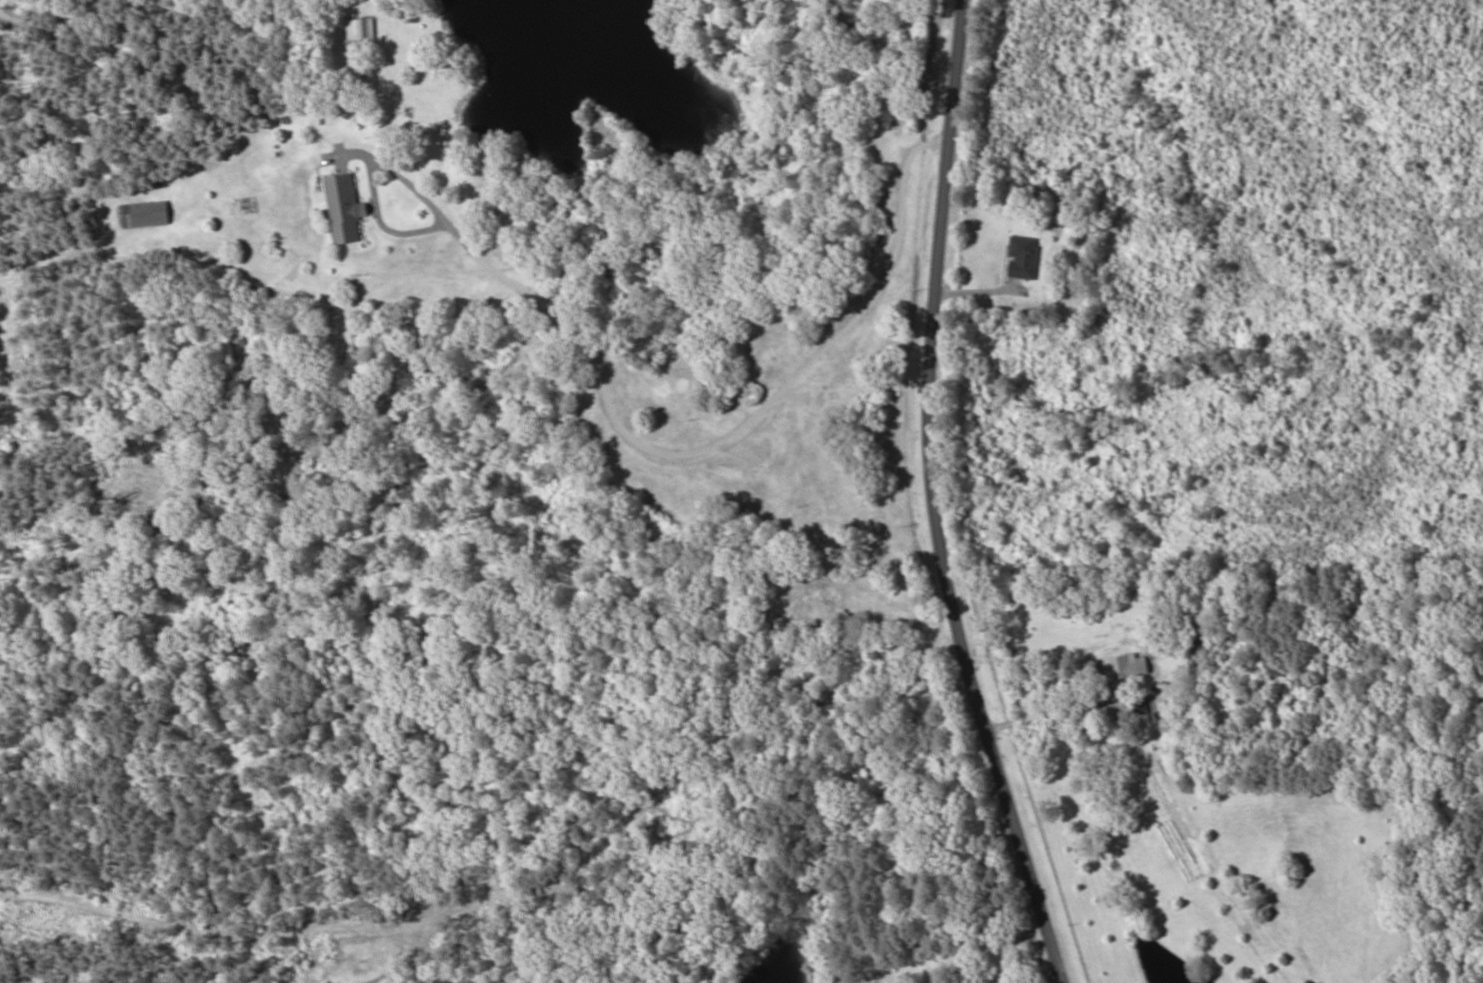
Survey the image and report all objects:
building: (361, 29)
building: (341, 208)
building: (145, 214)
building: (1024, 258)
road: (945, 497)
building: (1202, 646)
building: (1124, 666)

